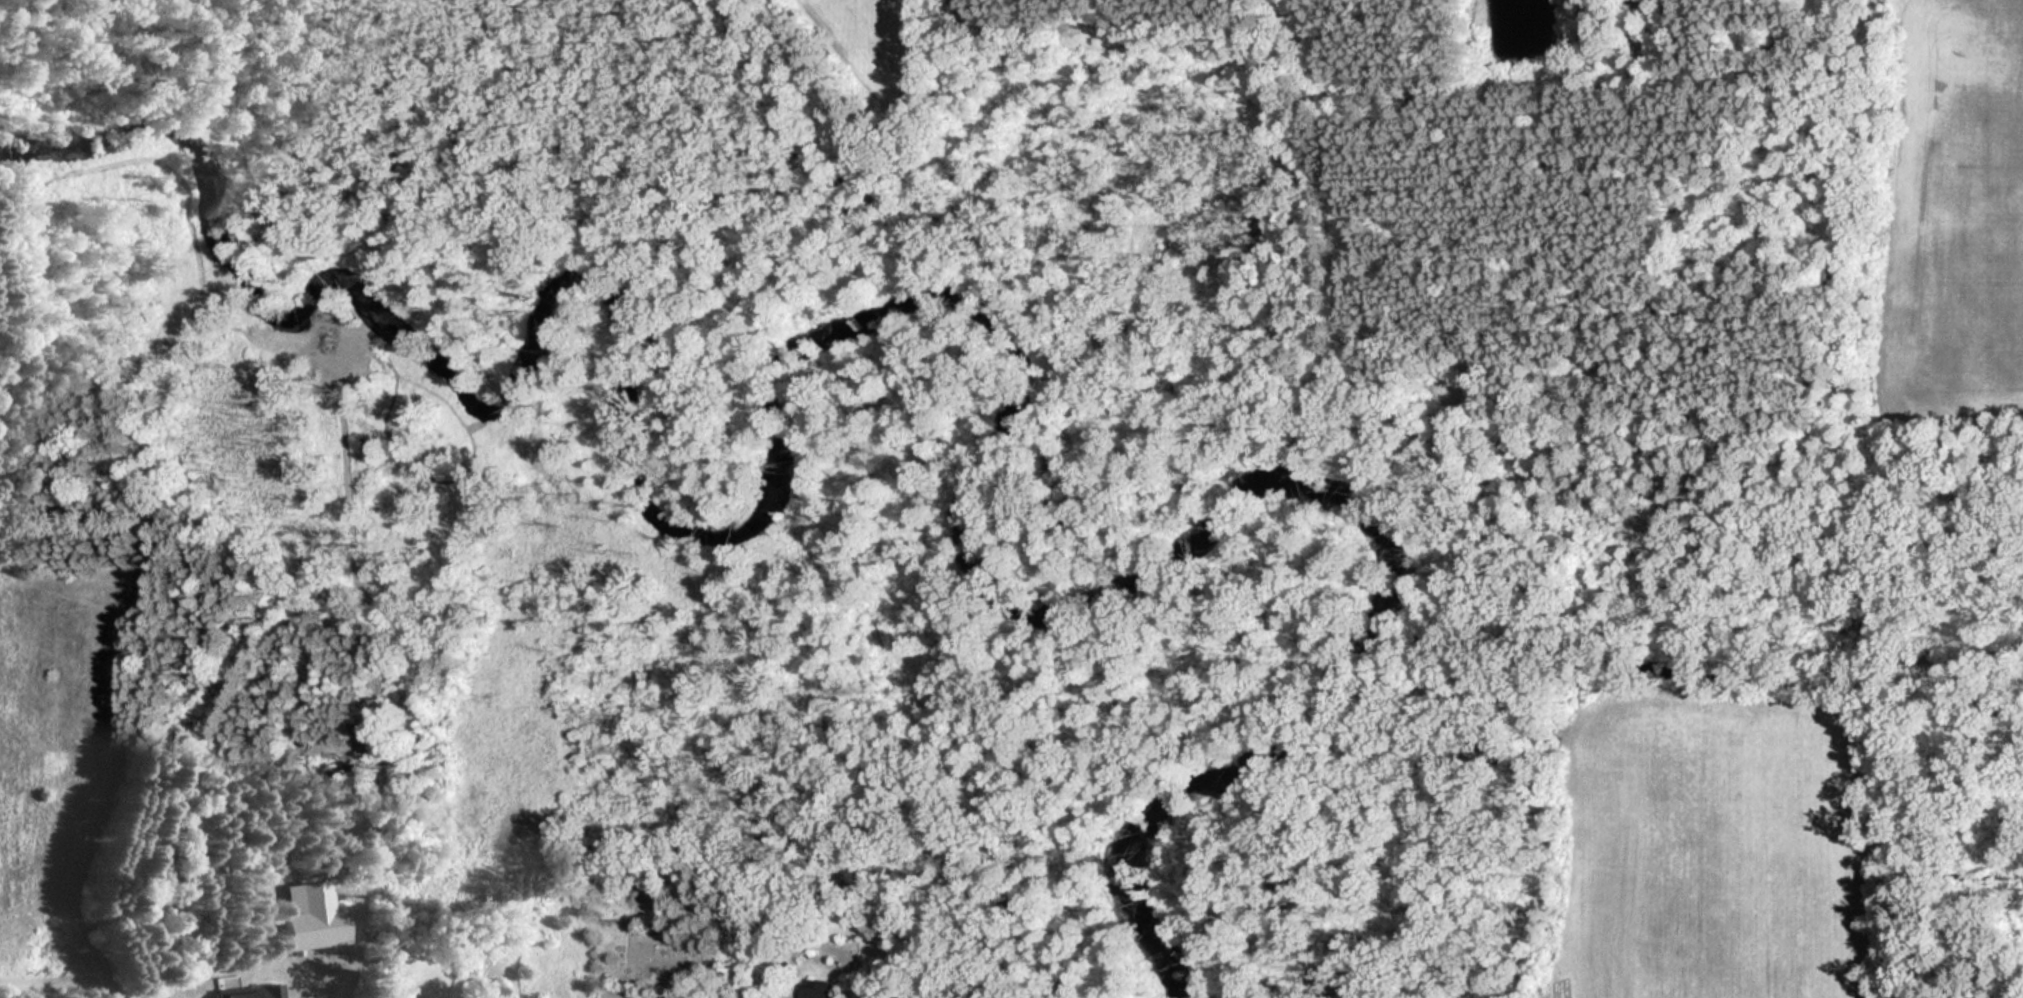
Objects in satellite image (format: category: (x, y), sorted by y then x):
road: (1833, 125)
river: (880, 319)
building: (320, 925)
building: (820, 990)
building: (252, 992)
road: (316, 994)

